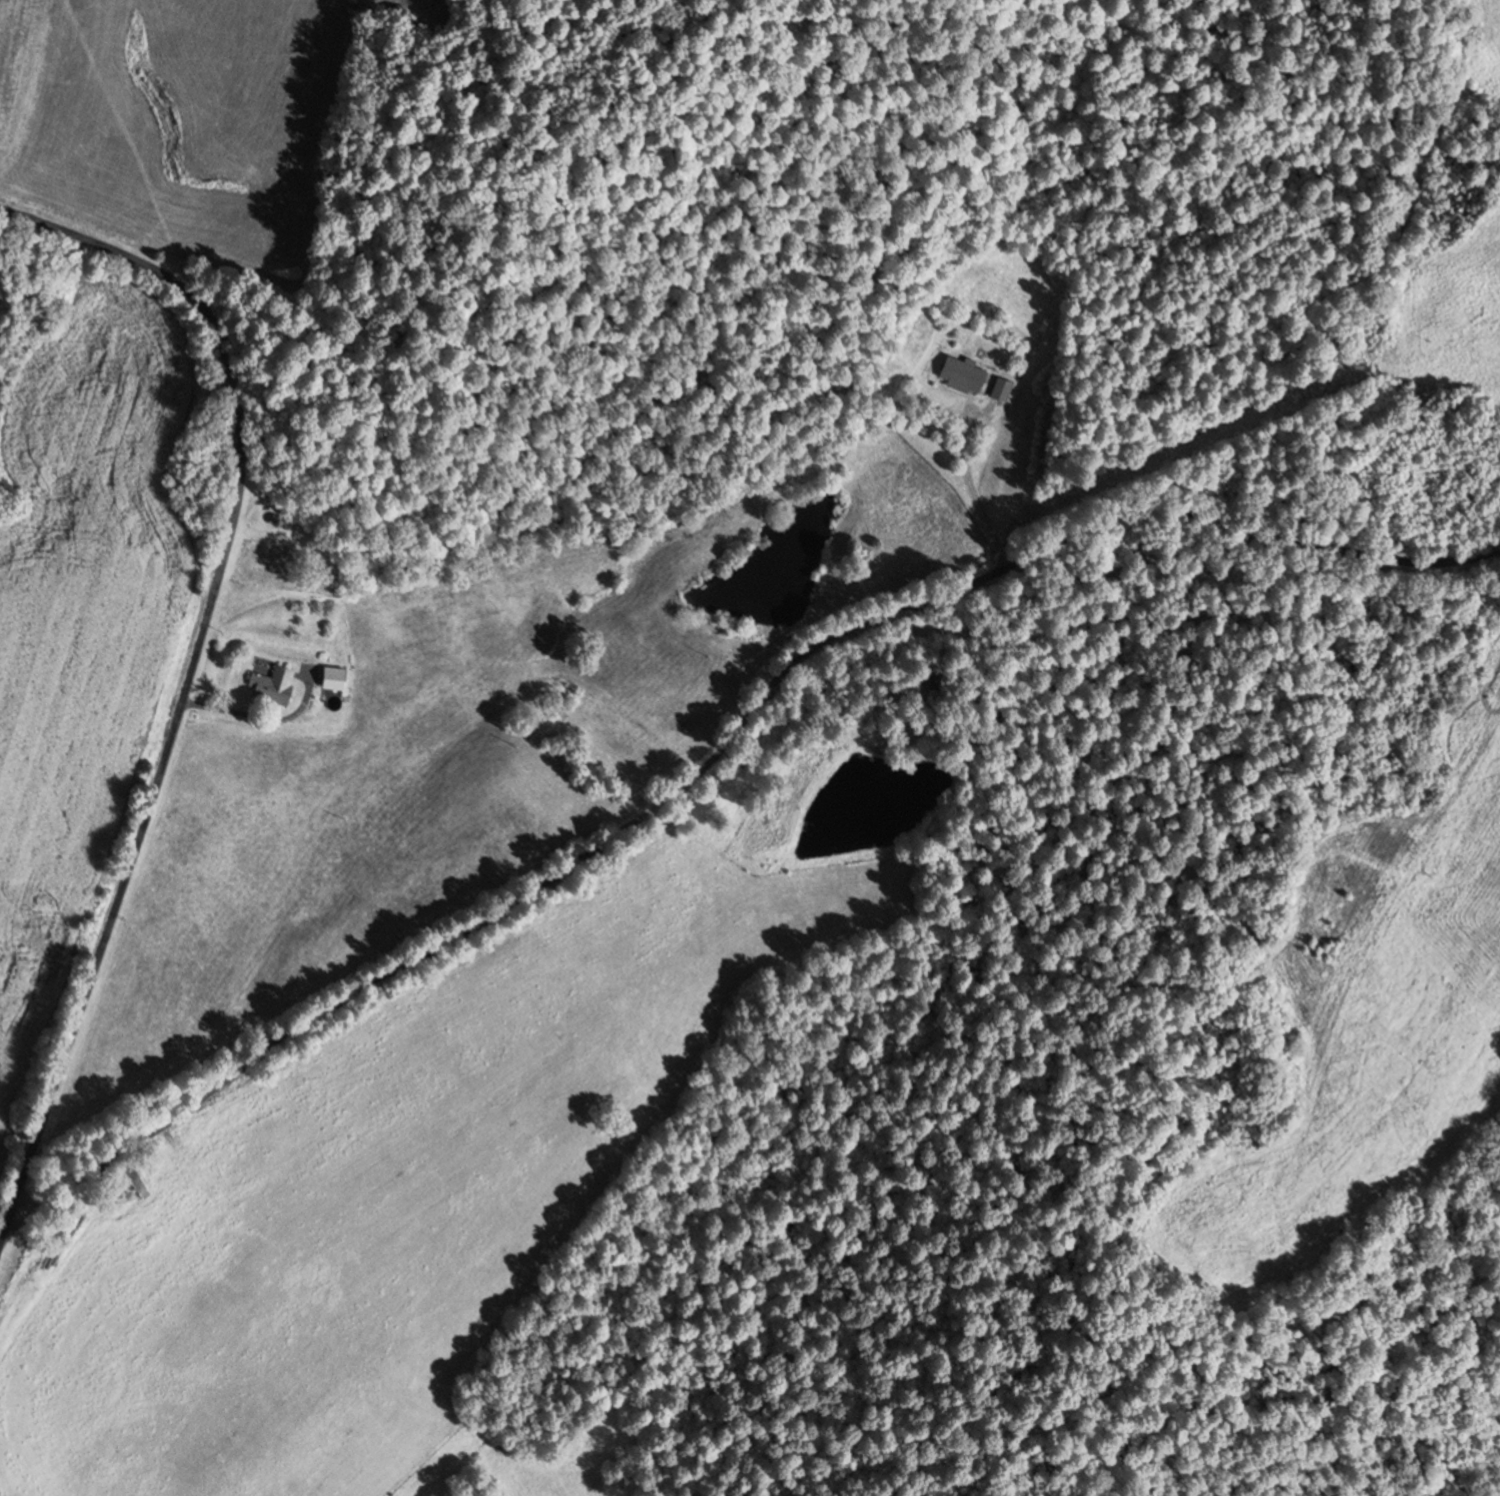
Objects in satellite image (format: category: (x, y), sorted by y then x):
road: (190, 672)
road: (719, 755)
road: (38, 1246)

